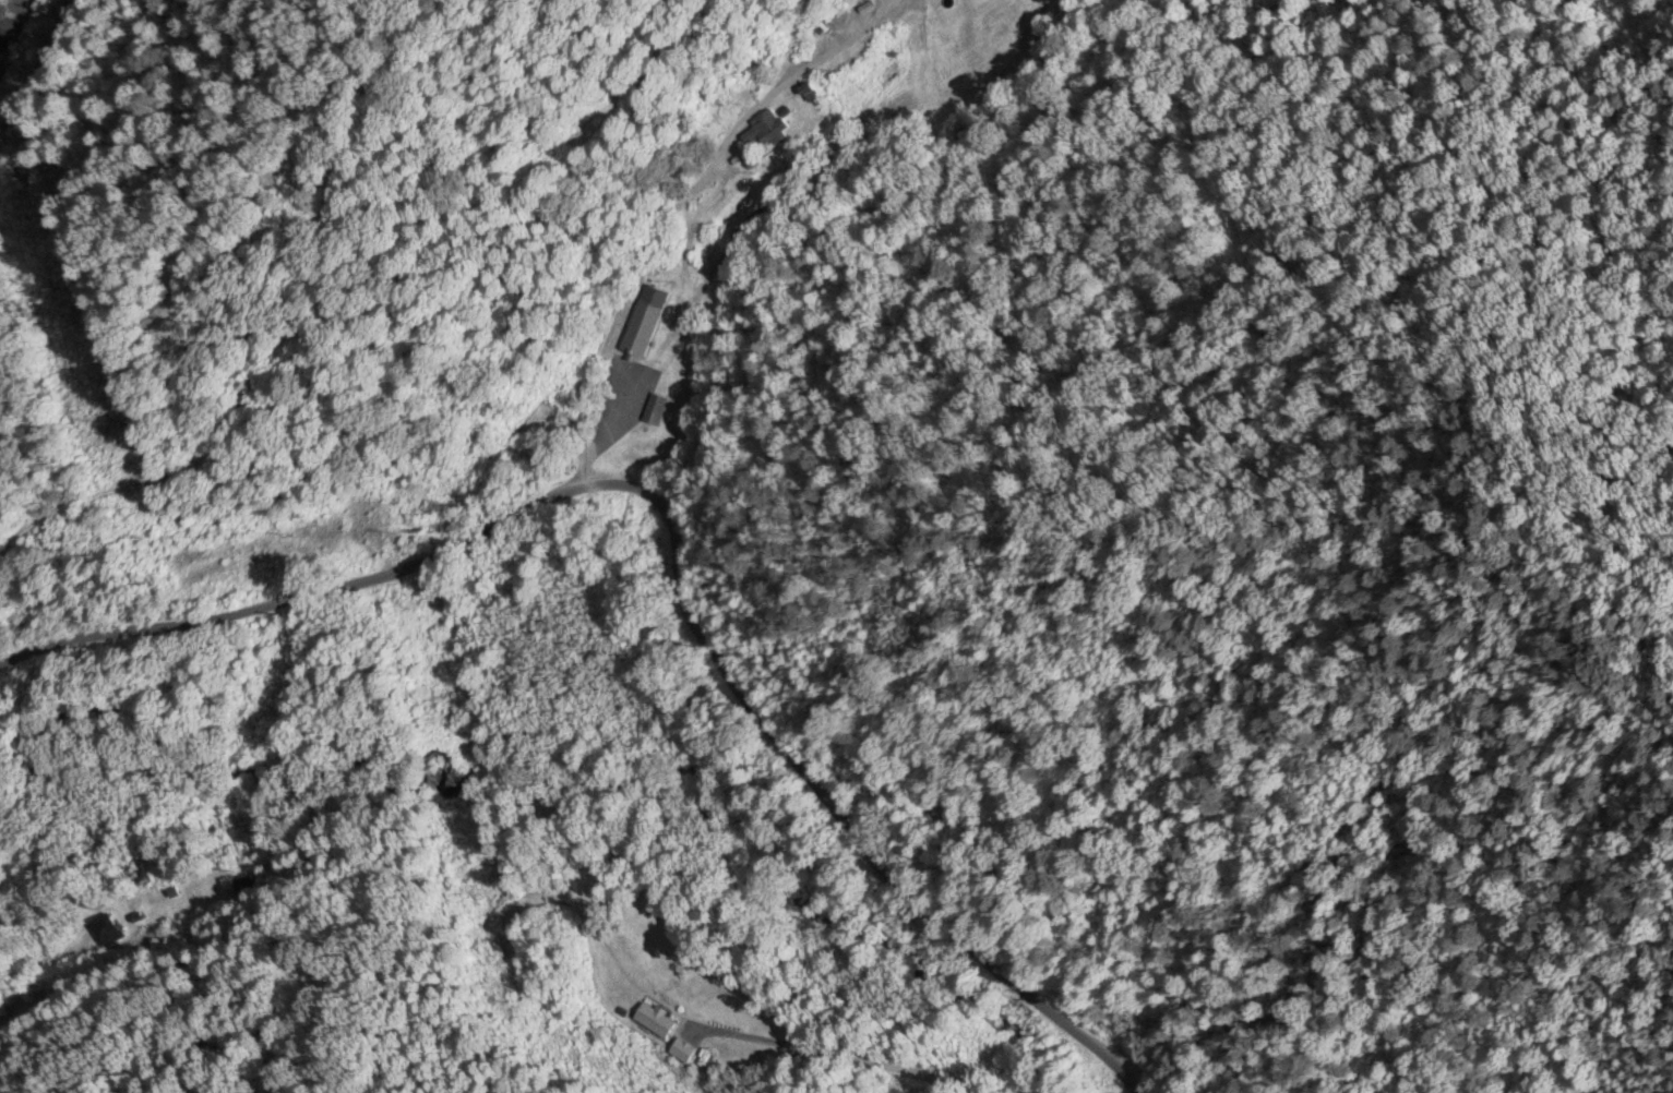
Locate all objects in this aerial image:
road: (648, 233)
road: (297, 594)
road: (852, 773)
building: (243, 887)
building: (106, 929)

